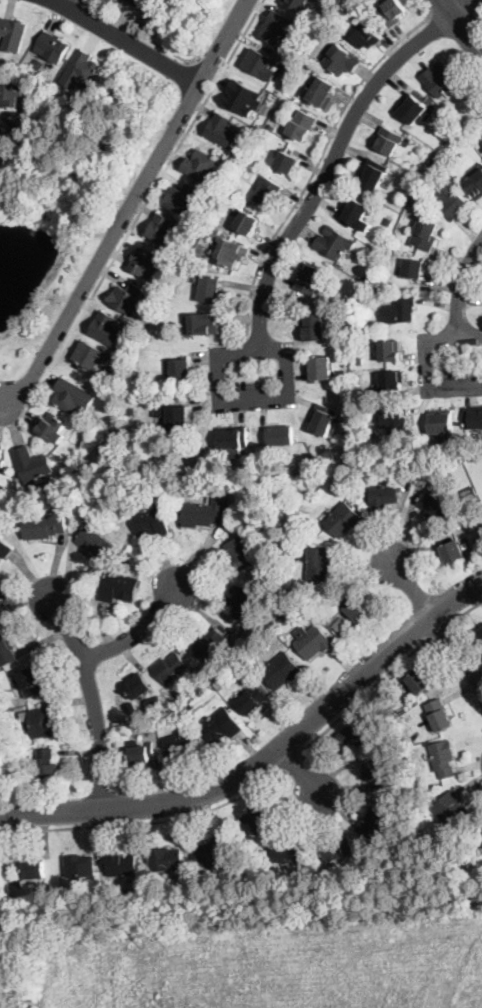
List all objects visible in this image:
building: (113, 0)
road: (59, 1)
building: (134, 2)
building: (296, 4)
road: (438, 7)
building: (154, 8)
road: (472, 8)
building: (392, 12)
road: (479, 18)
building: (276, 27)
road: (462, 27)
building: (310, 32)
building: (364, 34)
building: (13, 35)
road: (140, 35)
road: (127, 41)
building: (53, 47)
building: (341, 60)
building: (37, 65)
building: (260, 65)
road: (208, 67)
building: (80, 70)
building: (442, 80)
building: (321, 92)
building: (43, 94)
building: (11, 95)
building: (243, 97)
building: (411, 108)
building: (462, 124)
building: (302, 125)
building: (272, 127)
building: (453, 129)
building: (2, 131)
building: (223, 131)
building: (388, 140)
building: (481, 140)
building: (438, 154)
road: (335, 155)
building: (287, 162)
road: (318, 162)
building: (432, 163)
building: (203, 169)
building: (371, 176)
building: (409, 180)
building: (475, 185)
building: (222, 188)
building: (269, 193)
building: (183, 199)
building: (450, 200)
road: (144, 204)
road: (130, 207)
building: (235, 207)
building: (354, 211)
building: (388, 221)
building: (215, 222)
building: (247, 223)
building: (164, 231)
building: (425, 234)
building: (334, 243)
building: (232, 253)
building: (147, 262)
building: (413, 268)
building: (368, 277)
building: (309, 279)
building: (210, 289)
building: (376, 290)
road: (458, 297)
building: (127, 298)
building: (398, 311)
building: (359, 322)
building: (203, 324)
building: (315, 327)
building: (107, 329)
building: (390, 351)
building: (92, 356)
building: (359, 361)
building: (181, 368)
building: (319, 368)
building: (392, 380)
building: (122, 388)
building: (74, 396)
road: (239, 400)
building: (131, 412)
building: (473, 417)
building: (180, 418)
building: (395, 419)
building: (324, 420)
building: (441, 422)
building: (52, 428)
building: (280, 436)
building: (233, 437)
building: (1, 453)
building: (32, 464)
building: (470, 492)
building: (300, 493)
building: (76, 494)
building: (383, 498)
building: (435, 504)
building: (242, 506)
building: (107, 509)
building: (205, 513)
building: (474, 518)
building: (343, 520)
building: (151, 522)
building: (260, 523)
building: (44, 527)
building: (94, 544)
building: (465, 544)
building: (4, 549)
building: (246, 551)
building: (453, 552)
building: (126, 558)
building: (321, 565)
building: (261, 585)
building: (120, 586)
building: (339, 591)
building: (242, 602)
building: (352, 607)
road: (466, 609)
building: (327, 611)
road: (437, 624)
building: (341, 625)
road: (438, 629)
road: (134, 632)
building: (480, 634)
building: (312, 641)
building: (207, 642)
building: (6, 650)
building: (170, 668)
building: (282, 670)
building: (418, 681)
building: (30, 682)
building: (218, 684)
building: (138, 687)
road: (360, 694)
road: (91, 699)
building: (252, 699)
building: (154, 704)
building: (190, 705)
building: (439, 714)
building: (38, 722)
building: (163, 723)
building: (144, 724)
building: (220, 726)
building: (355, 736)
building: (179, 745)
building: (142, 755)
road: (266, 758)
building: (443, 758)
road: (289, 762)
building: (46, 768)
road: (300, 771)
building: (376, 774)
building: (448, 811)
building: (257, 818)
road: (145, 820)
building: (374, 823)
building: (481, 836)
building: (338, 849)
building: (286, 850)
building: (213, 853)
building: (166, 860)
building: (122, 864)
building: (80, 865)
building: (464, 865)
building: (34, 869)
building: (260, 879)
building: (152, 887)
building: (127, 894)

